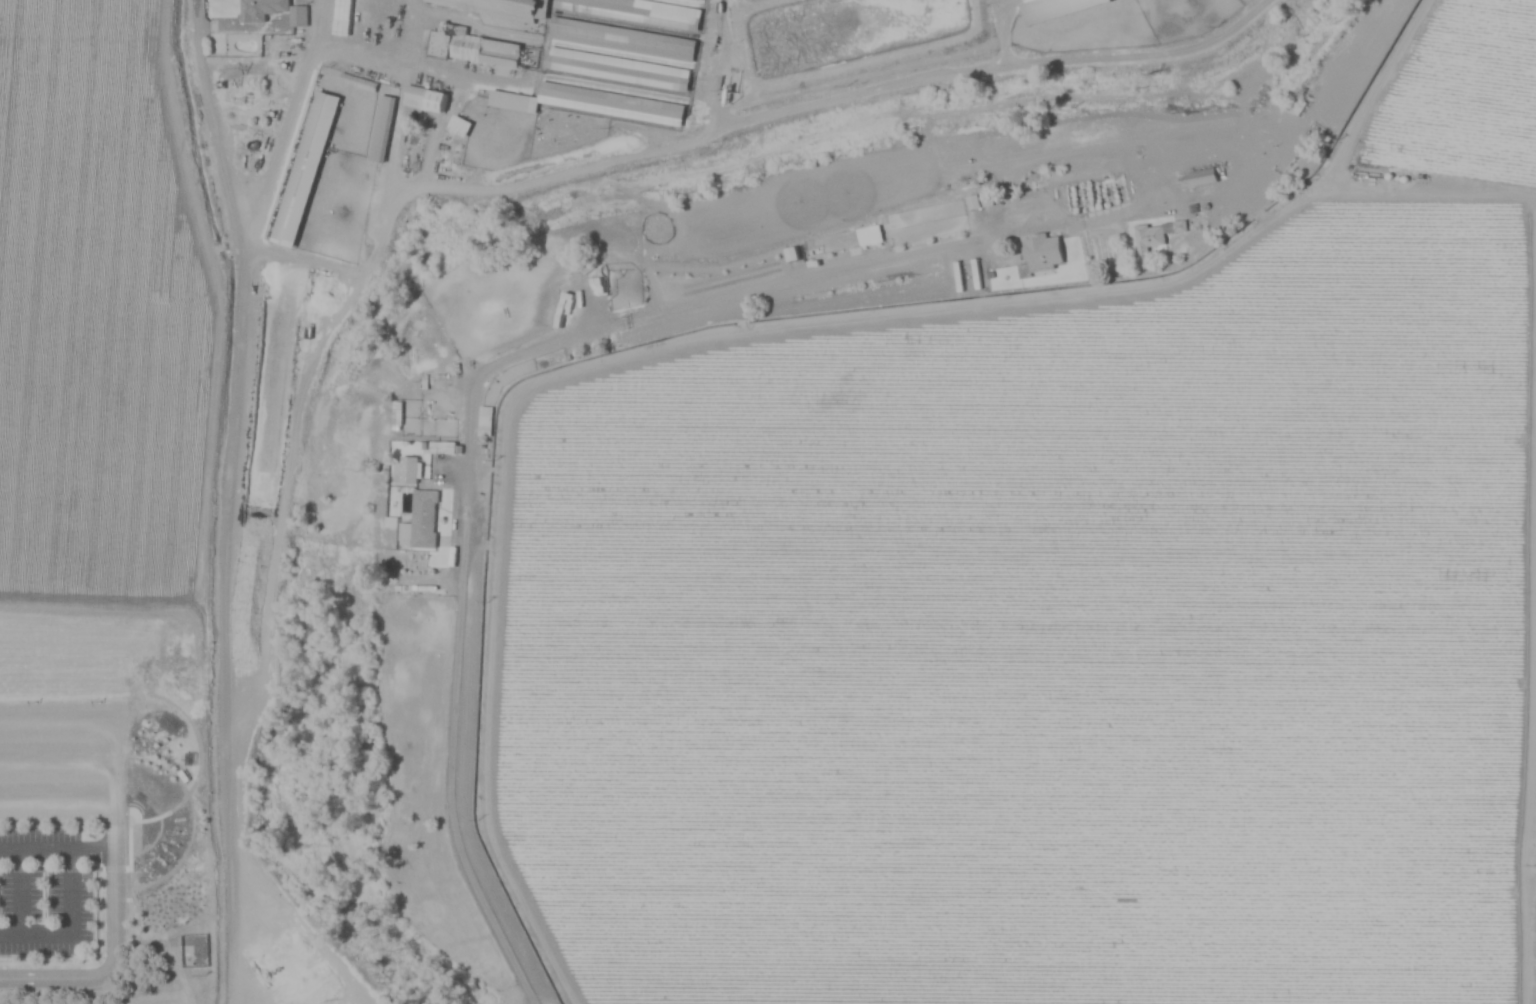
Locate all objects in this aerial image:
building: (497, 7)
building: (1052, 9)
building: (272, 11)
building: (635, 12)
building: (621, 40)
building: (472, 45)
building: (615, 69)
building: (356, 82)
building: (426, 100)
building: (509, 102)
building: (608, 104)
road: (204, 115)
road: (725, 123)
building: (459, 127)
building: (380, 128)
building: (304, 170)
building: (1196, 179)
building: (1155, 235)
building: (1033, 250)
building: (1069, 257)
crop: (102, 294)
road: (479, 426)
building: (408, 470)
road: (244, 488)
building: (422, 519)
crop: (1080, 592)
road: (59, 771)
road: (59, 803)
road: (59, 847)
road: (21, 889)
road: (72, 925)
road: (117, 927)

